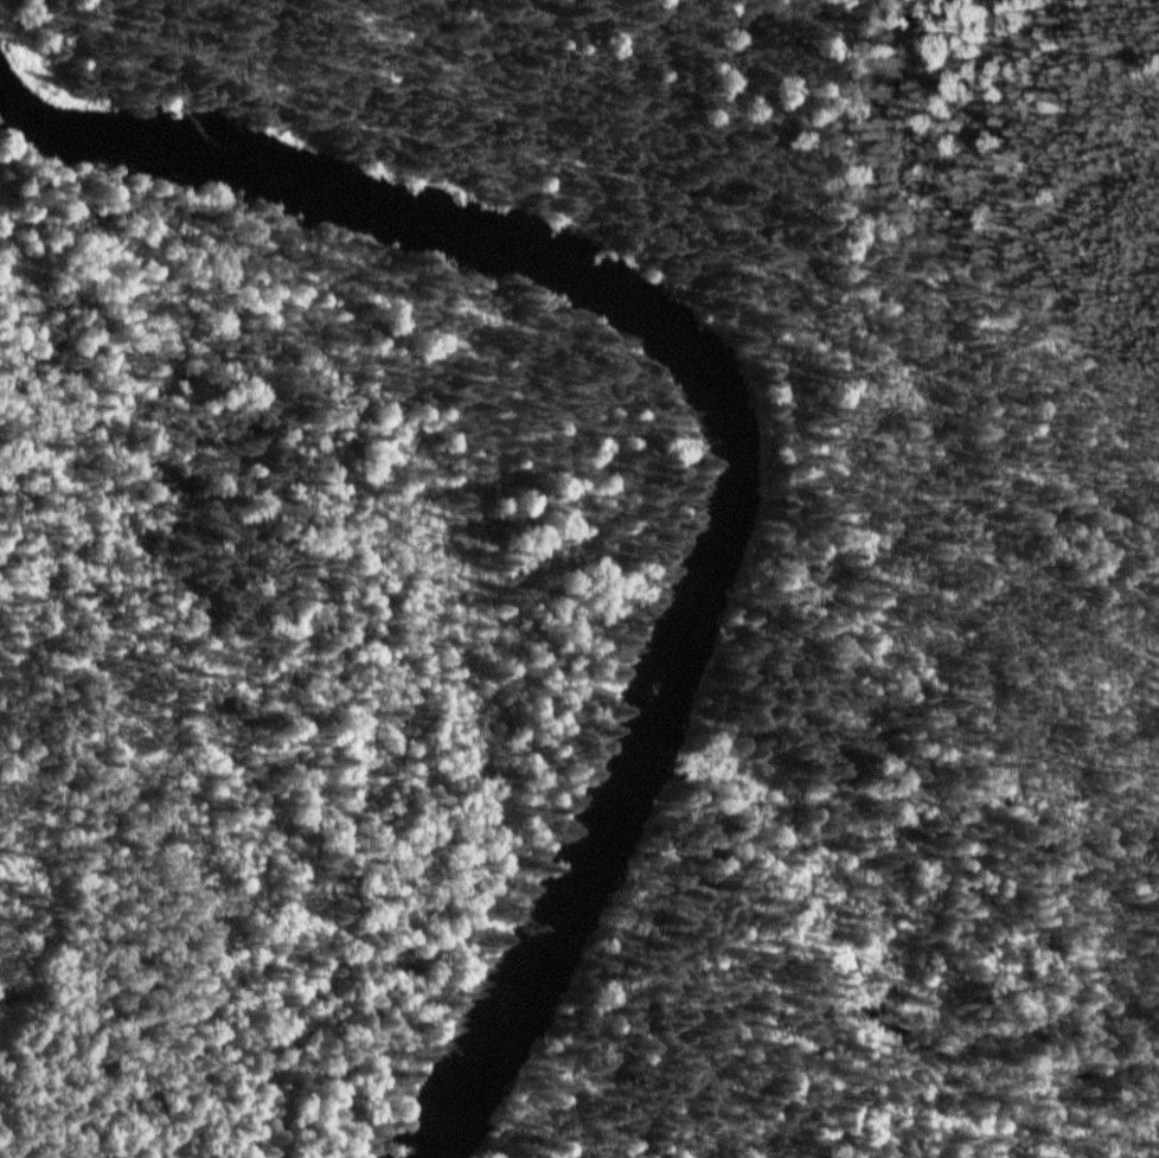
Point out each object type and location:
river: (534, 270)
river: (534, 941)

